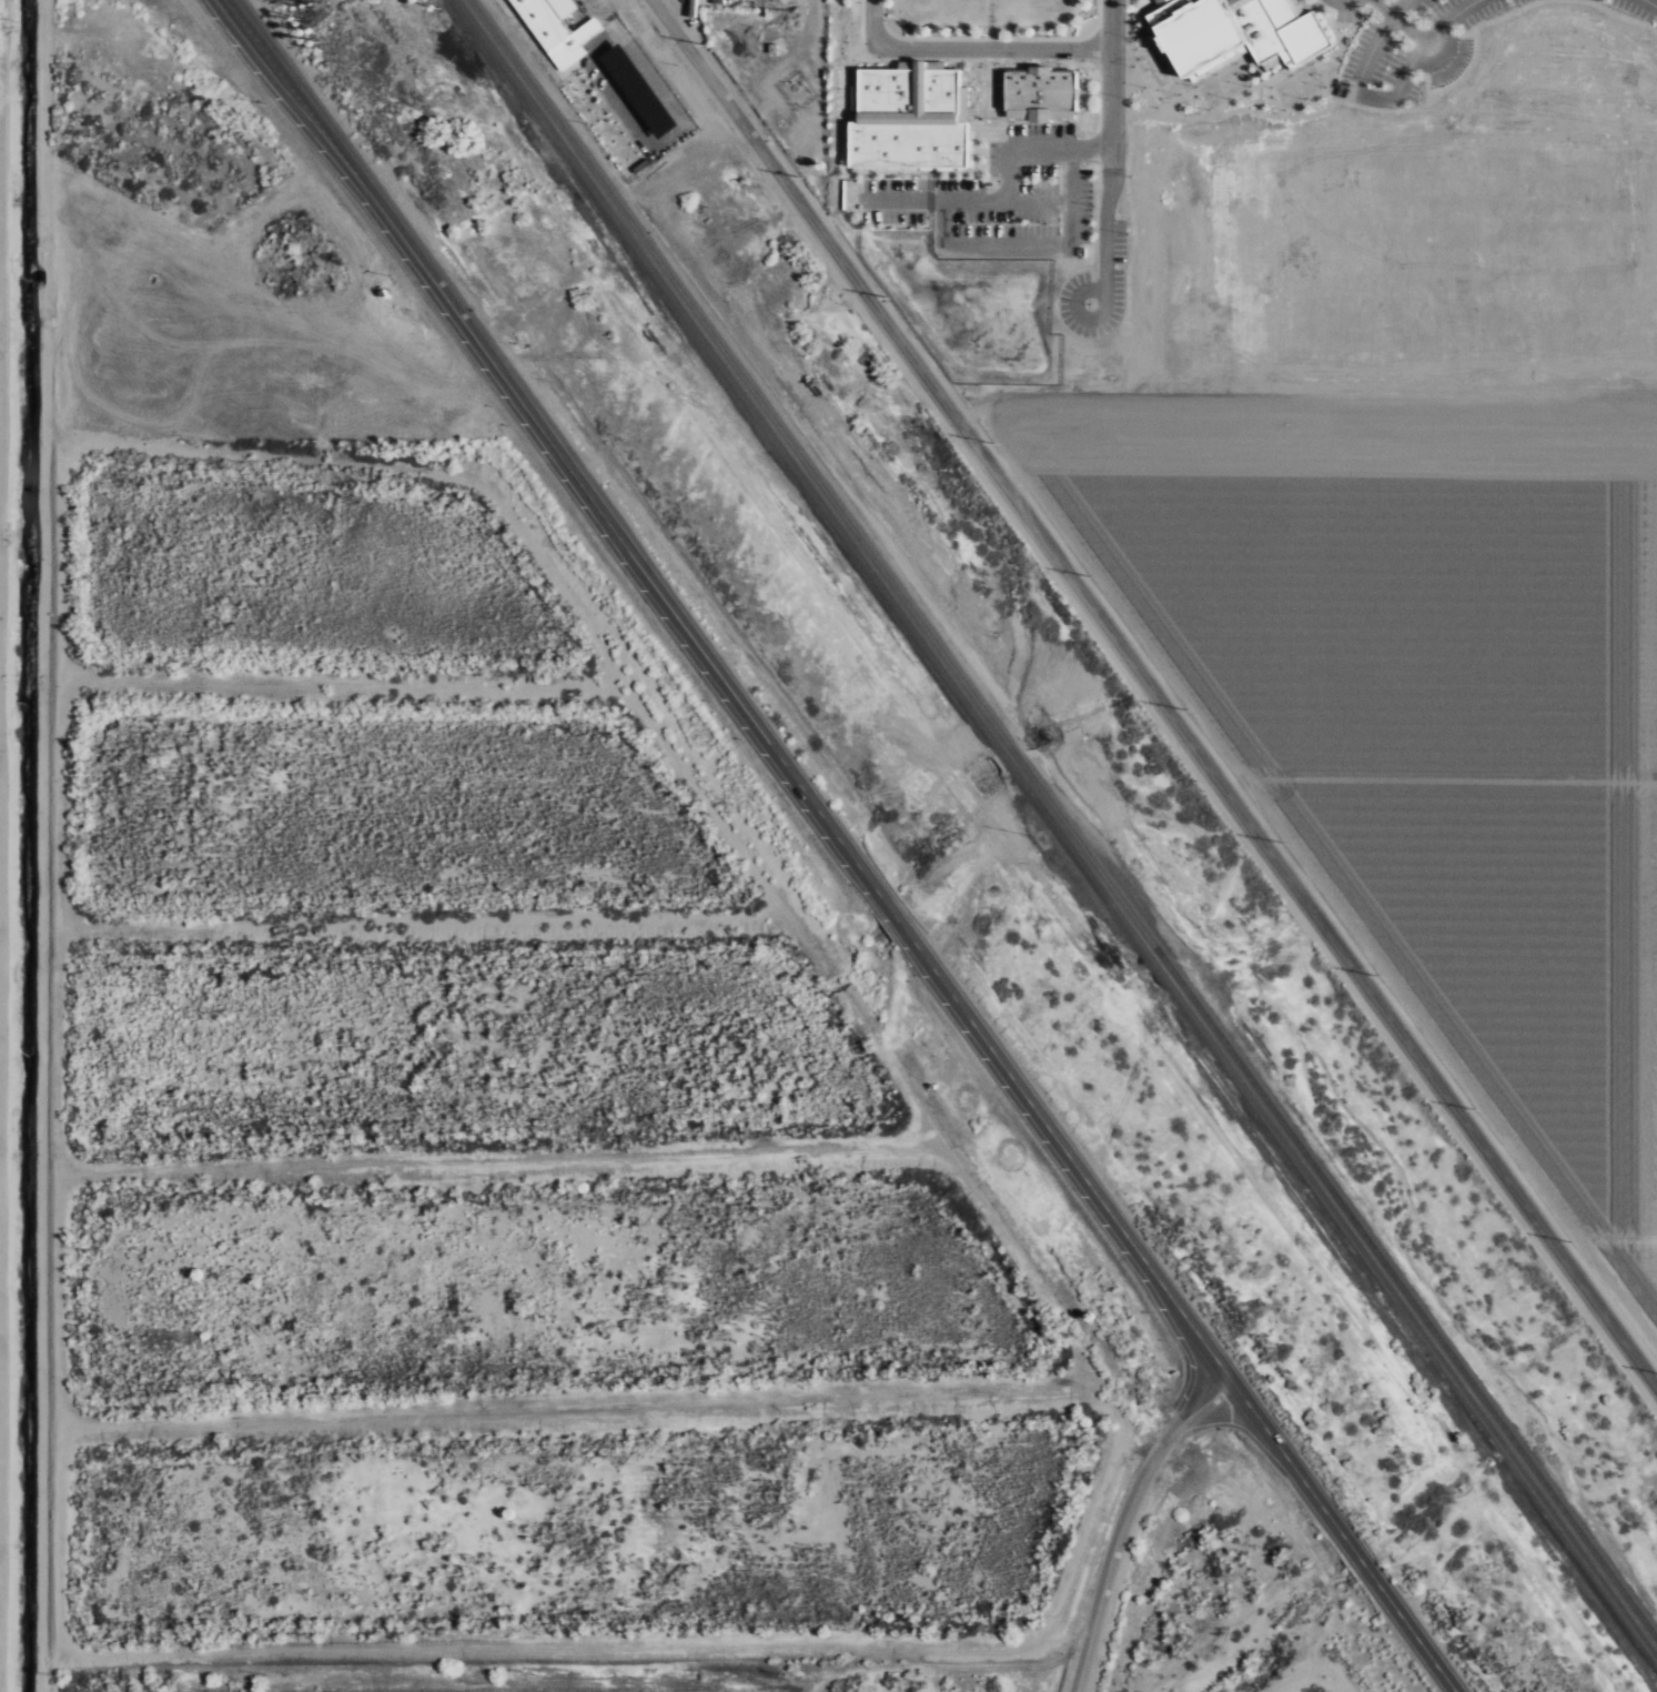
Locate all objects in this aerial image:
road: (1344, 0)
building: (1156, 1)
road: (1650, 3)
parking lot: (1639, 8)
parking lot: (1342, 9)
building: (1168, 10)
road: (1304, 10)
road: (1620, 16)
road: (882, 17)
road: (1097, 17)
road: (871, 19)
road: (989, 19)
park: (990, 19)
road: (1407, 27)
building: (555, 30)
building: (1273, 31)
building: (1200, 33)
road: (1464, 33)
road: (989, 38)
road: (1423, 39)
road: (1371, 41)
road: (1160, 44)
parking lot: (1407, 46)
road: (1139, 47)
building: (770, 48)
road: (997, 49)
road: (1273, 53)
road: (1276, 53)
road: (1439, 53)
building: (1271, 58)
road: (1165, 59)
road: (860, 60)
road: (903, 60)
building: (920, 63)
road: (1239, 66)
road: (778, 67)
building: (1038, 68)
road: (1316, 68)
park: (1151, 73)
road: (846, 75)
road: (1111, 75)
road: (1124, 82)
park: (1219, 82)
park: (1294, 82)
road: (1423, 84)
road: (989, 88)
road: (1139, 89)
building: (1009, 90)
building: (1023, 90)
building: (1038, 90)
building: (1052, 90)
building: (1067, 90)
road: (1267, 95)
road: (1370, 95)
road: (1165, 98)
road: (1226, 98)
road: (1301, 98)
building: (962, 102)
building: (852, 103)
road: (1408, 105)
road: (1230, 107)
road: (1013, 113)
road: (1019, 113)
building: (1037, 113)
road: (1038, 113)
road: (1057, 113)
road: (1063, 113)
road: (849, 115)
road: (1017, 117)
building: (907, 119)
flagpole: (989, 119)
road: (972, 127)
road: (1001, 139)
road: (839, 142)
road: (978, 148)
road: (982, 151)
road: (1060, 151)
road: (972, 153)
road: (916, 169)
road: (952, 169)
road: (964, 169)
road: (982, 169)
road: (908, 171)
road: (930, 178)
road: (1008, 178)
parking lot: (998, 191)
road: (1070, 199)
road: (932, 200)
road: (1039, 204)
road: (942, 222)
road: (1006, 246)
road: (1123, 246)
road: (1100, 262)
parking lot: (1093, 290)
road: (1108, 332)
road: (1301, 414)
road: (1059, 467)
road: (1154, 695)
crop: (1422, 706)
road: (1448, 773)
railway: (1064, 819)
railway: (1055, 829)
road: (845, 846)
road: (1318, 882)
road: (1614, 1232)
road: (1130, 1523)

